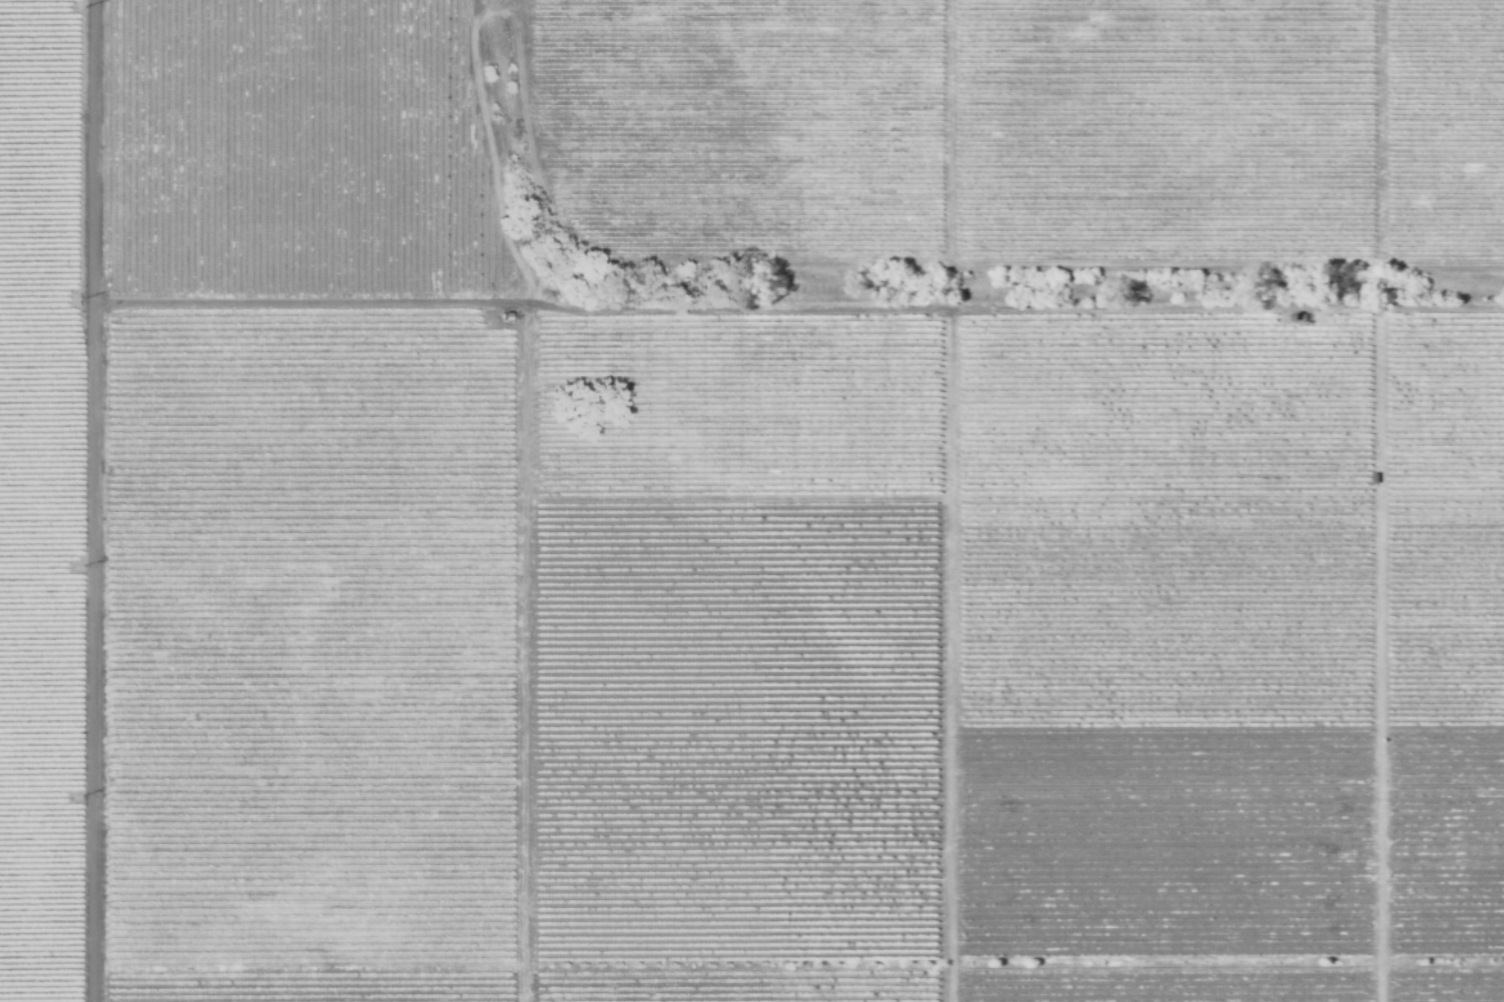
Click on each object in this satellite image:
building: (503, 317)
building: (1295, 318)
road: (97, 500)

